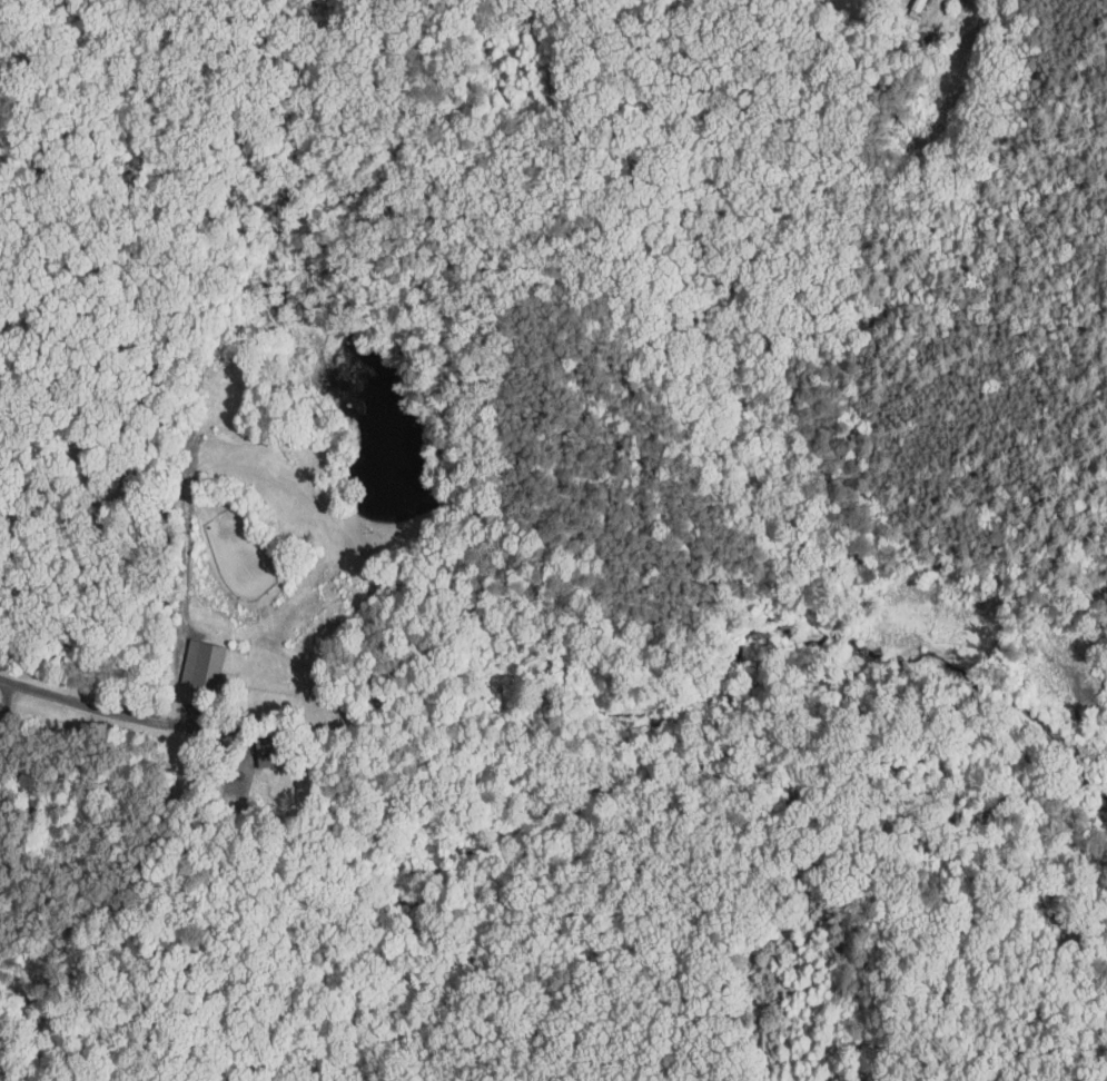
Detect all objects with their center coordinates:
building: (901, 4)
building: (188, 657)
road: (8, 706)
road: (109, 708)
building: (253, 744)

